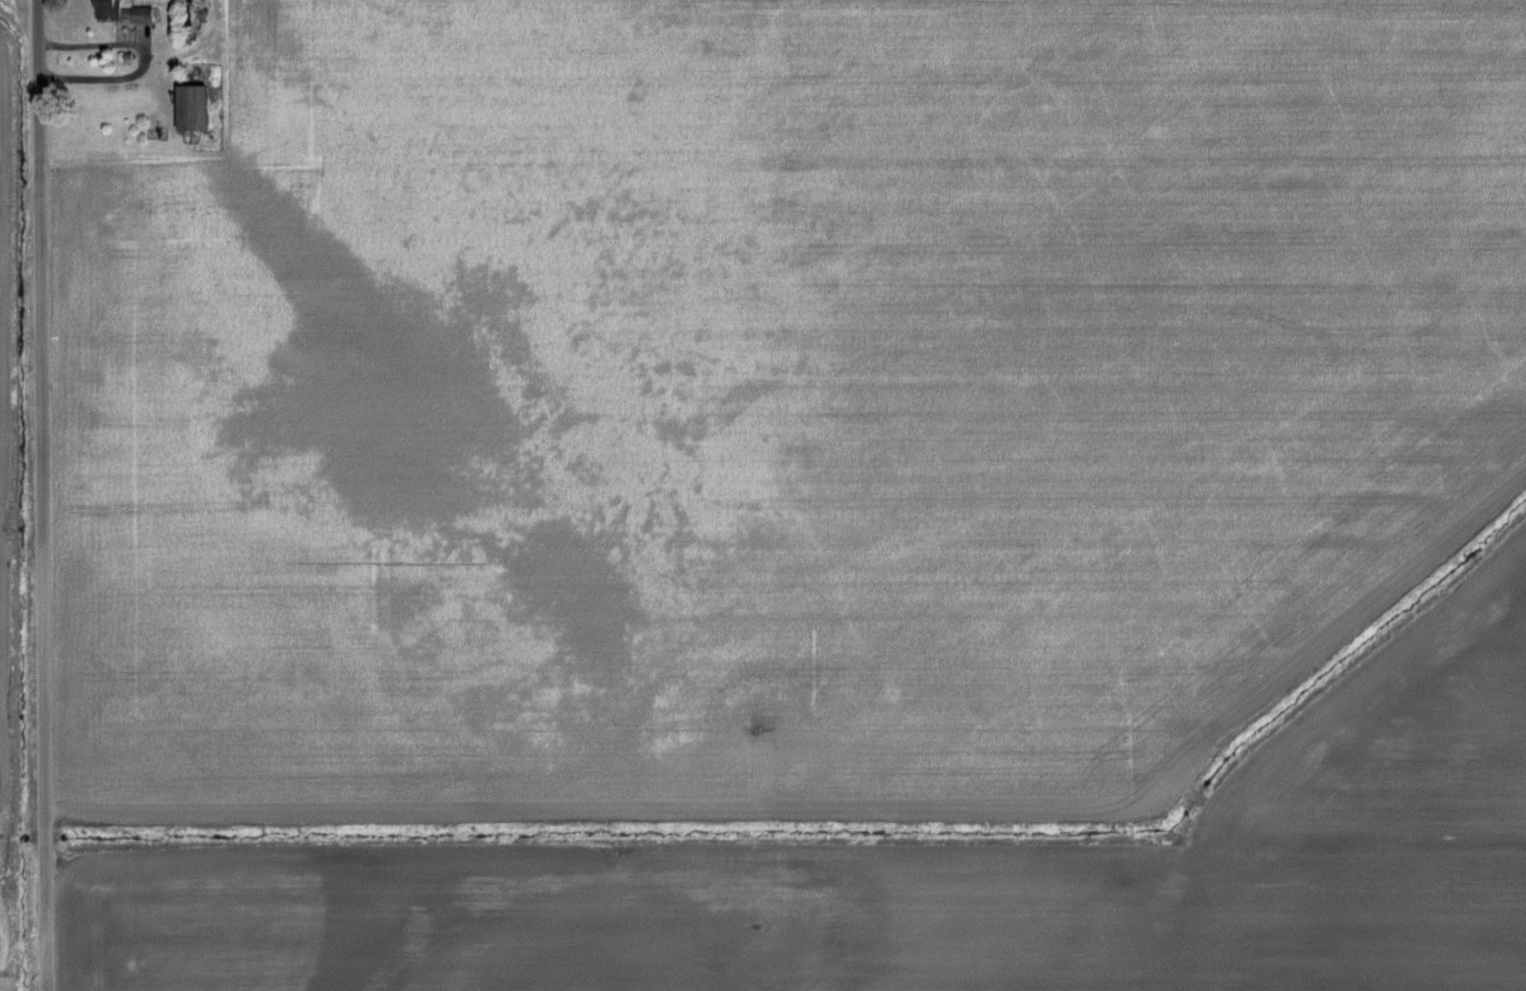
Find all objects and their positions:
building: (125, 12)
building: (200, 107)
road: (42, 495)

